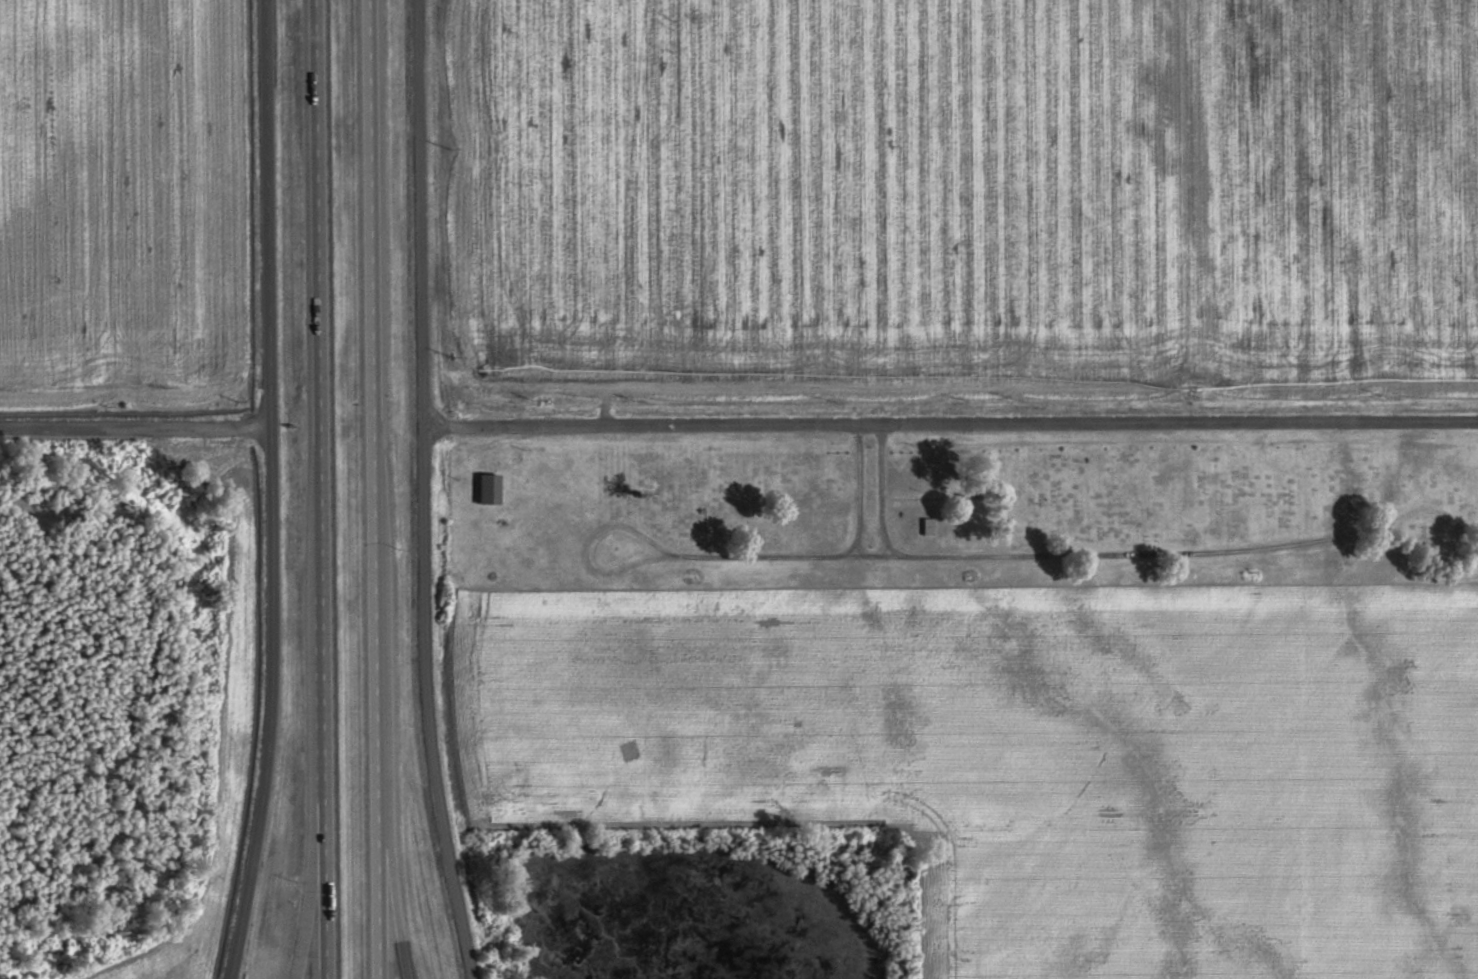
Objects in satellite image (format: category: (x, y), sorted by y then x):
road: (135, 426)
road: (951, 426)
road: (323, 489)
road: (379, 489)
building: (490, 489)
road: (272, 491)
road: (425, 491)
park: (960, 523)
road: (399, 918)
road: (315, 921)

